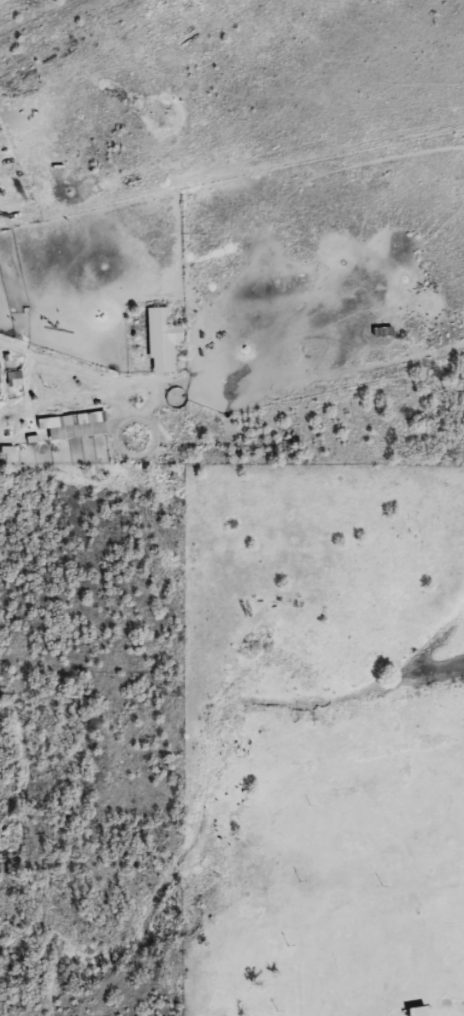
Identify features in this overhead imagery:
railway: (39, 19)
building: (163, 339)
building: (0, 371)
railway: (250, 936)

